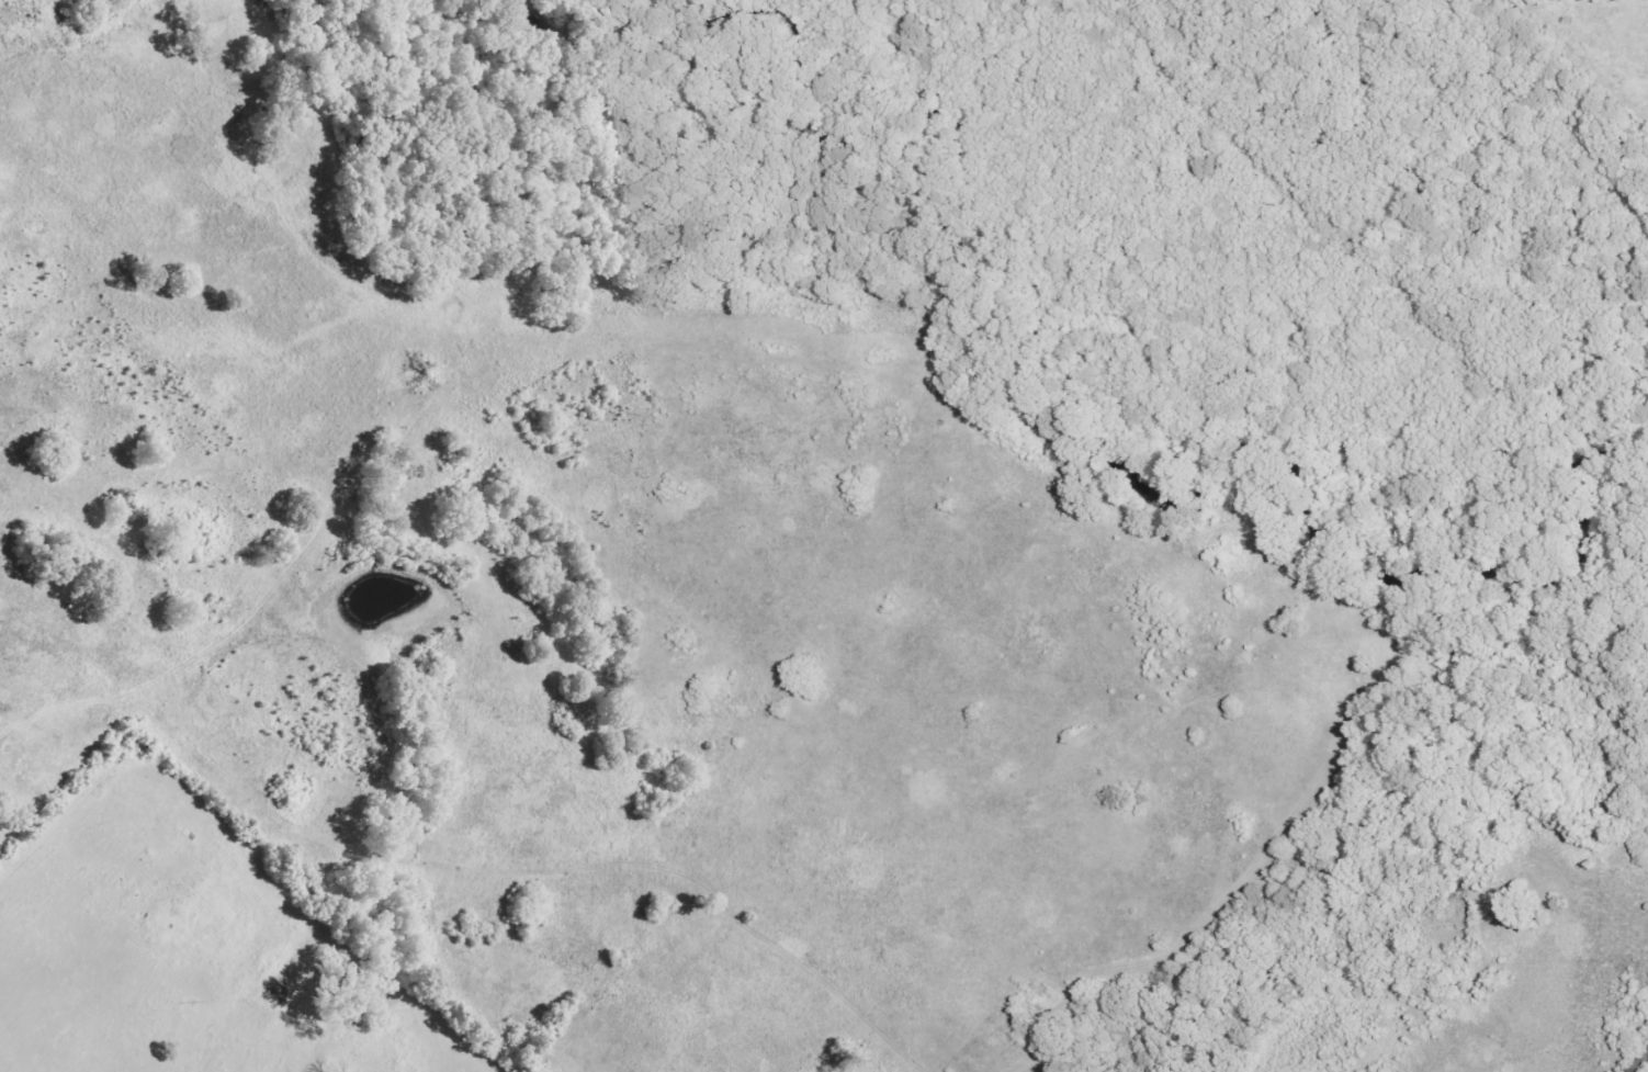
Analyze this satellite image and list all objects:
road: (191, 742)

